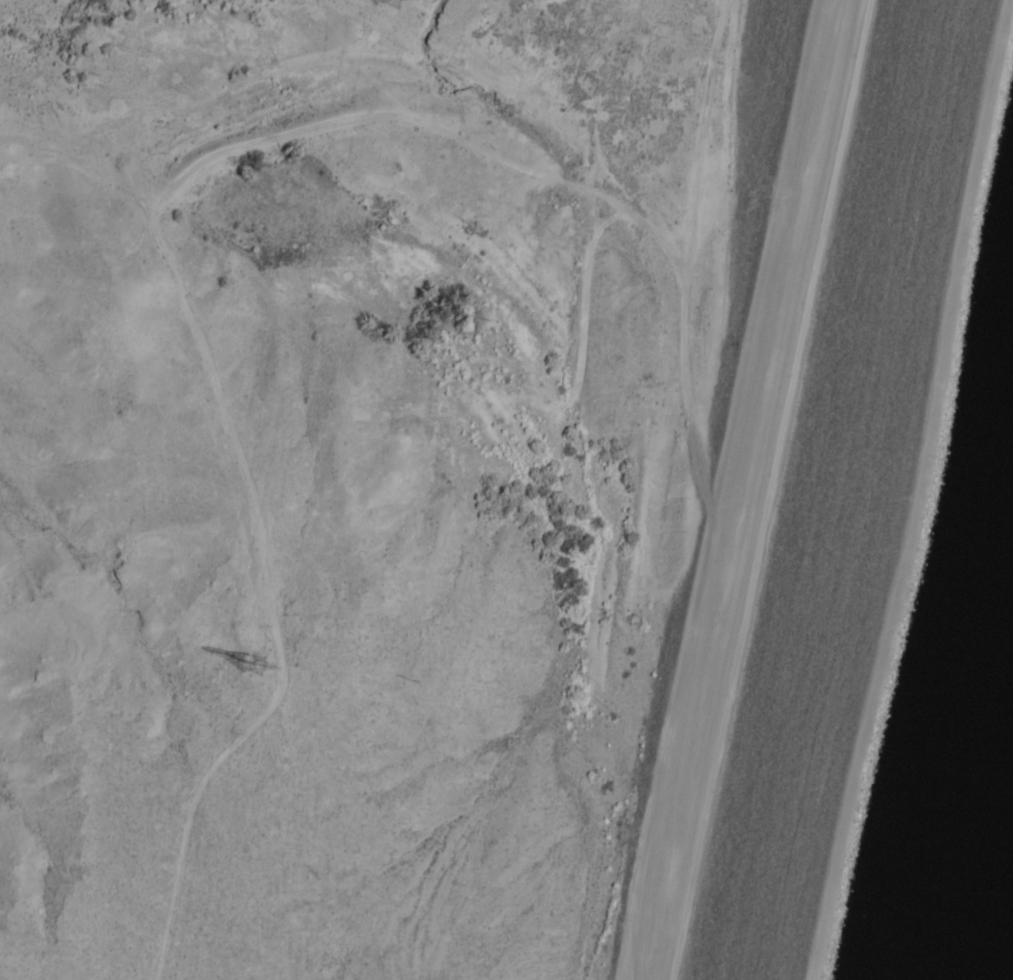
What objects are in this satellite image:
road: (561, 160)
road: (771, 360)
road: (920, 515)
dam: (933, 585)
power tower: (250, 657)
road: (665, 850)

